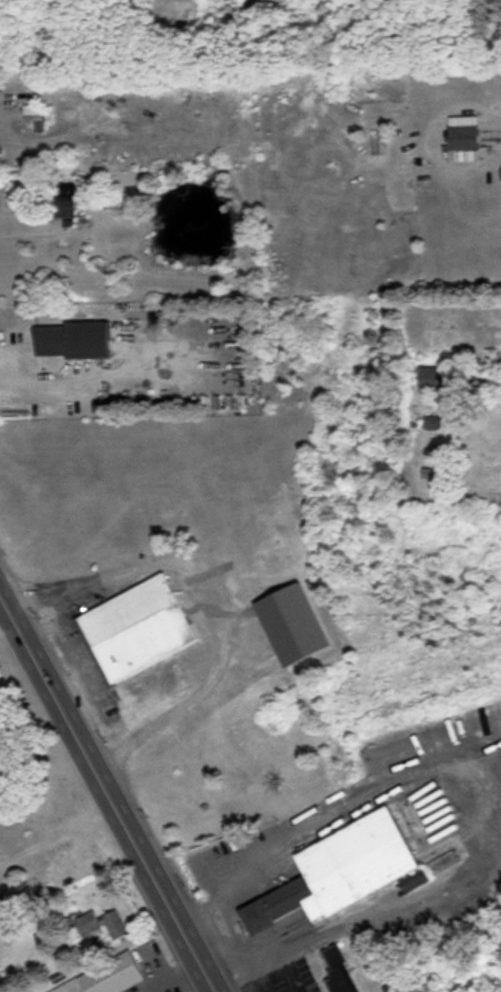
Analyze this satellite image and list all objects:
building: (33, 114)
building: (464, 139)
building: (62, 203)
building: (88, 340)
building: (50, 341)
building: (435, 379)
road: (52, 382)
building: (431, 424)
building: (243, 544)
road: (207, 606)
building: (294, 626)
building: (136, 630)
road: (107, 792)
park: (40, 809)
road: (458, 813)
road: (55, 829)
building: (442, 863)
building: (345, 872)
building: (103, 926)
road: (132, 937)
building: (339, 972)
building: (114, 977)

